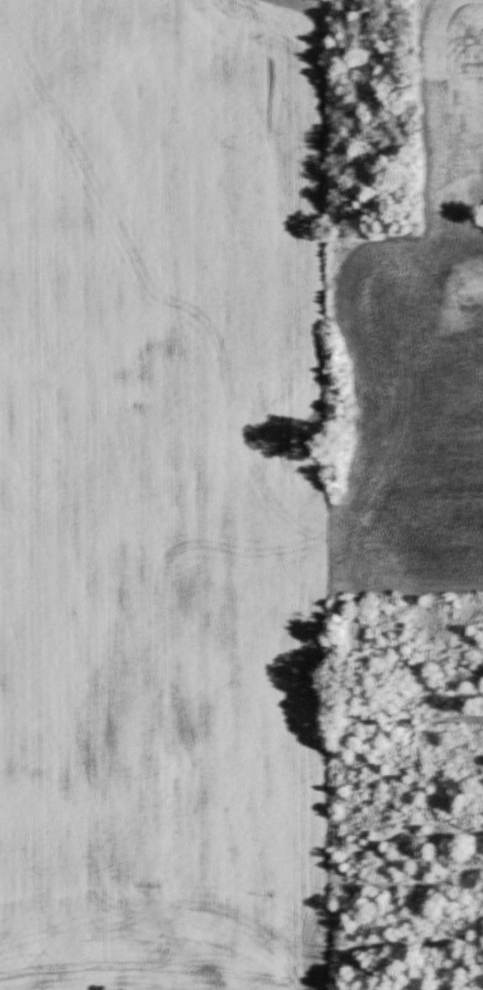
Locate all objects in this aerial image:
crop: (451, 98)
crop: (405, 413)
crop: (164, 497)

